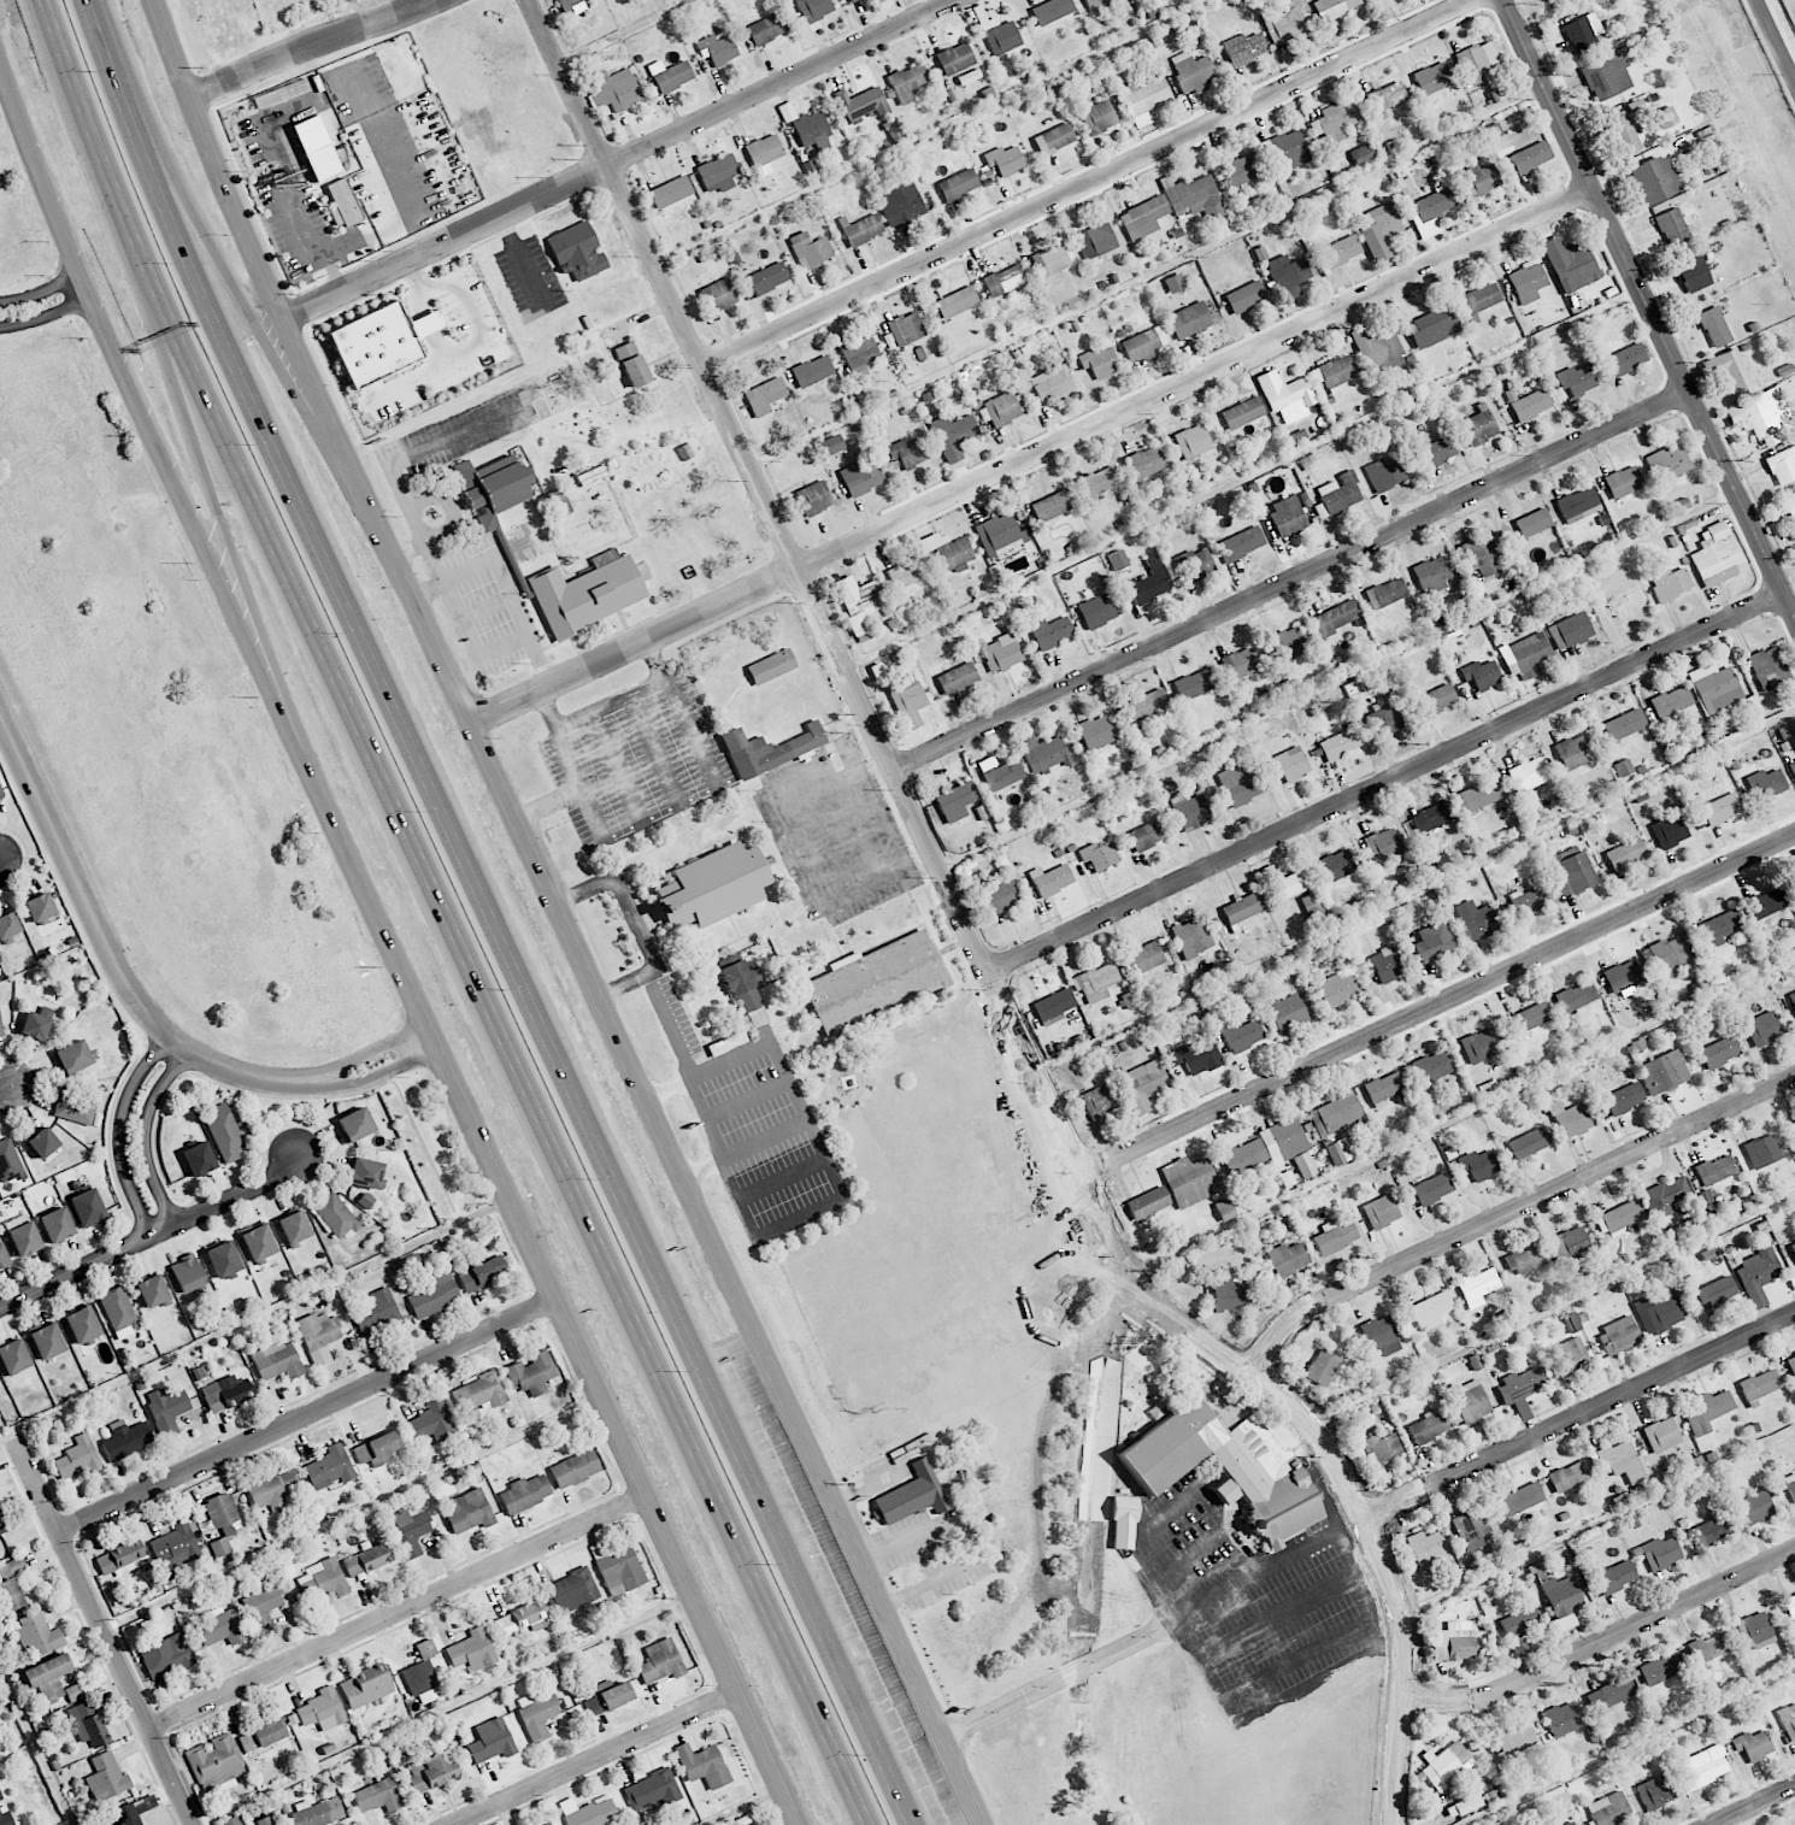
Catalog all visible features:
building: (851, 0)
building: (1546, 0)
building: (1097, 4)
building: (572, 5)
building: (1334, 7)
building: (816, 8)
building: (1050, 11)
building: (1285, 20)
building: (767, 29)
building: (996, 33)
building: (1582, 33)
road: (317, 46)
building: (1243, 48)
building: (717, 49)
building: (951, 60)
building: (1477, 61)
building: (1114, 65)
building: (1193, 71)
building: (670, 75)
building: (1606, 75)
building: (1432, 78)
building: (907, 81)
building: (613, 89)
building: (1144, 98)
building: (1385, 99)
building: (861, 102)
building: (1097, 117)
building: (1665, 117)
building: (1335, 120)
building: (805, 124)
building: (891, 130)
building: (1495, 130)
building: (308, 131)
building: (1622, 135)
building: (1053, 139)
building: (1287, 149)
building: (764, 153)
building: (1363, 154)
building: (1530, 157)
road: (617, 161)
building: (1004, 161)
building: (323, 165)
building: (1242, 169)
building: (718, 172)
building: (1479, 179)
building: (1654, 179)
road: (112, 182)
building: (958, 184)
road: (1090, 186)
building: (1405, 186)
building: (670, 192)
building: (1194, 195)
building: (342, 201)
building: (899, 202)
building: (1432, 204)
building: (1143, 218)
building: (1671, 226)
building: (860, 229)
building: (1379, 230)
building: (1095, 240)
building: (576, 249)
building: (810, 249)
building: (1341, 251)
building: (1260, 253)
road: (226, 257)
building: (1054, 259)
building: (1570, 264)
building: (1289, 275)
building: (1693, 275)
building: (767, 278)
building: (1004, 279)
building: (1175, 282)
building: (1528, 282)
road: (41, 290)
building: (718, 295)
building: (1244, 296)
building: (1479, 298)
building: (955, 302)
road: (1650, 305)
road: (46, 316)
building: (1189, 319)
building: (1431, 326)
building: (1714, 326)
building: (906, 328)
road: (108, 341)
building: (1144, 343)
building: (373, 345)
building: (1376, 348)
building: (859, 355)
building: (1625, 359)
building: (1099, 361)
building: (631, 364)
building: (1784, 370)
building: (812, 371)
building: (1730, 371)
building: (1334, 372)
building: (1576, 379)
building: (1052, 383)
building: (764, 395)
building: (1284, 398)
building: (1530, 405)
building: (1006, 407)
building: (1242, 412)
building: (1762, 416)
building: (1478, 425)
building: (953, 435)
building: (1295, 438)
building: (1193, 441)
building: (831, 445)
road: (419, 451)
building: (1437, 451)
building: (908, 452)
road: (1035, 457)
building: (1144, 461)
building: (1667, 463)
building: (1782, 465)
building: (1384, 473)
building: (861, 476)
building: (1099, 481)
building: (1623, 482)
road: (213, 485)
building: (493, 487)
road: (282, 491)
building: (1340, 493)
building: (813, 498)
building: (559, 502)
building: (1052, 505)
building: (1577, 505)
building: (1679, 505)
building: (1791, 511)
building: (1287, 516)
building: (1532, 522)
building: (1000, 535)
building: (1241, 543)
building: (948, 551)
building: (1479, 554)
building: (1714, 555)
building: (1117, 560)
building: (1794, 560)
road: (436, 563)
building: (1194, 563)
building: (907, 572)
building: (1431, 573)
road: (1293, 581)
building: (1148, 583)
building: (1670, 583)
building: (587, 591)
building: (1385, 593)
building: (858, 604)
building: (1096, 611)
building: (1336, 617)
building: (1570, 630)
building: (1050, 631)
building: (1289, 642)
road: (490, 653)
building: (1001, 653)
building: (1529, 654)
building: (1240, 663)
building: (770, 666)
building: (1768, 669)
building: (877, 671)
building: (1481, 673)
road: (328, 676)
building: (957, 678)
building: (1194, 683)
building: (1713, 687)
building: (907, 699)
building: (1435, 700)
building: (1671, 702)
road: (607, 703)
building: (1749, 703)
building: (1146, 707)
building: (1383, 722)
building: (1624, 724)
building: (1095, 732)
building: (1338, 743)
building: (770, 749)
building: (1041, 752)
building: (1573, 752)
building: (1290, 764)
building: (1623, 767)
building: (1791, 767)
building: (999, 772)
building: (1526, 775)
road: (1385, 781)
building: (1240, 784)
building: (1765, 784)
road: (573, 788)
building: (0, 794)
building: (1476, 796)
building: (955, 801)
building: (1719, 808)
building: (1189, 810)
road: (861, 814)
building: (1432, 816)
road: (336, 823)
building: (1669, 830)
building: (1148, 834)
building: (1385, 844)
building: (1625, 854)
building: (1099, 855)
building: (1336, 865)
building: (1573, 875)
building: (1050, 879)
building: (1794, 879)
building: (1285, 883)
building: (712, 885)
building: (1001, 896)
building: (1530, 901)
building: (1770, 901)
building: (40, 907)
building: (1242, 908)
building: (1401, 912)
road: (561, 914)
road: (635, 923)
building: (1478, 923)
building: (7, 925)
building: (1719, 928)
road: (970, 935)
building: (1191, 937)
building: (1434, 941)
building: (1666, 955)
building: (1144, 956)
building: (1384, 964)
building: (1622, 976)
building: (875, 982)
building: (1095, 982)
building: (745, 989)
building: (1336, 989)
building: (1575, 996)
building: (1793, 997)
building: (1126, 1000)
road: (1438, 1002)
road: (137, 1003)
building: (1053, 1005)
building: (1287, 1013)
building: (1528, 1018)
building: (36, 1023)
building: (1762, 1028)
building: (0, 1030)
road: (672, 1034)
building: (1240, 1036)
building: (1478, 1046)
building: (1719, 1052)
building: (72, 1056)
building: (1194, 1058)
building: (1429, 1067)
building: (1662, 1072)
building: (1142, 1085)
building: (1383, 1087)
road: (6, 1089)
road: (670, 1090)
building: (1623, 1099)
building: (1099, 1100)
building: (75, 1107)
building: (1335, 1114)
building: (1569, 1119)
building: (354, 1124)
building: (1793, 1124)
road: (119, 1132)
building: (225, 1132)
road: (147, 1136)
building: (42, 1142)
road: (816, 1142)
building: (1529, 1143)
building: (1266, 1147)
building: (1761, 1150)
building: (1338, 1152)
building: (199, 1159)
building: (8, 1161)
building: (1478, 1164)
building: (1303, 1165)
building: (1715, 1170)
building: (365, 1173)
building: (1190, 1181)
building: (1432, 1189)
building: (1664, 1197)
building: (365, 1200)
building: (1147, 1202)
building: (87, 1208)
building: (1224, 1209)
building: (1381, 1211)
road: (1509, 1211)
building: (336, 1215)
building: (1618, 1218)
building: (57, 1224)
building: (294, 1226)
road: (153, 1234)
building: (1335, 1236)
building: (24, 1238)
building: (258, 1242)
building: (1569, 1244)
building: (1790, 1253)
building: (2, 1256)
building: (1287, 1259)
building: (1525, 1260)
building: (1756, 1273)
building: (482, 1274)
building: (188, 1276)
building: (1475, 1285)
building: (152, 1290)
building: (1714, 1293)
building: (434, 1295)
building: (1230, 1295)
road: (1550, 1306)
building: (1430, 1309)
building: (119, 1312)
building: (376, 1312)
building: (1656, 1312)
road: (259, 1317)
building: (1571, 1323)
building: (82, 1325)
building: (318, 1336)
building: (1381, 1336)
building: (1618, 1336)
building: (47, 1341)
building: (13, 1356)
building: (1567, 1358)
building: (277, 1360)
building: (1791, 1366)
building: (1322, 1367)
building: (531, 1373)
building: (1759, 1385)
building: (1519, 1390)
building: (226, 1393)
building: (478, 1393)
road: (701, 1399)
road: (671, 1405)
building: (1703, 1408)
building: (166, 1409)
road: (305, 1413)
road: (1579, 1417)
building: (432, 1421)
building: (1429, 1426)
road: (618, 1429)
building: (1661, 1435)
road: (6, 1436)
building: (126, 1440)
building: (376, 1448)
building: (1379, 1453)
building: (78, 1458)
building: (1622, 1460)
building: (330, 1467)
building: (575, 1468)
building: (1225, 1470)
building: (1567, 1476)
building: (1790, 1485)
building: (273, 1489)
building: (525, 1493)
building: (911, 1495)
building: (1520, 1499)
building: (1755, 1507)
building: (220, 1509)
building: (467, 1511)
building: (875, 1514)
building: (1124, 1524)
building: (1, 1527)
building: (1471, 1529)
building: (410, 1530)
building: (1712, 1530)
road: (966, 1538)
building: (173, 1543)
building: (219, 1547)
road: (1301, 1549)
building: (1428, 1549)
building: (1660, 1553)
building: (122, 1559)
building: (366, 1559)
building: (620, 1570)
building: (1614, 1576)
building: (11, 1583)
building: (322, 1583)
building: (571, 1588)
building: (1561, 1602)
building: (1789, 1603)
building: (263, 1606)
road: (398, 1612)
building: (523, 1618)
road: (1175, 1623)
road: (1170, 1624)
building: (1520, 1625)
building: (219, 1627)
road: (101, 1629)
building: (37, 1633)
building: (1454, 1641)
road: (1602, 1641)
road: (1377, 1644)
building: (1711, 1646)
building: (471, 1652)
building: (166, 1656)
building: (660, 1661)
building: (1659, 1670)
building: (422, 1671)
building: (46, 1677)
road: (1256, 1678)
building: (365, 1686)
building: (73, 1691)
building: (1609, 1695)
building: (607, 1696)
building: (322, 1709)
building: (578, 1711)
building: (537, 1713)
building: (1561, 1719)
building: (1788, 1720)
building: (87, 1724)
building: (261, 1735)
building: (492, 1741)
building: (1516, 1741)
building: (1752, 1744)
road: (592, 1758)
building: (216, 1762)
building: (702, 1765)
building: (1444, 1766)
building: (1703, 1766)
building: (431, 1772)
building: (106, 1778)
building: (652, 1789)
building: (1654, 1791)
building: (377, 1796)
building: (1464, 1806)
road: (1755, 1806)
building: (1608, 1809)
building: (317, 1812)
building: (588, 1812)
building: (5, 1813)
building: (233, 1820)
building: (131, 1821)
building: (264, 1821)
building: (1570, 1823)
building: (547, 1824)
building: (1554, 1824)

